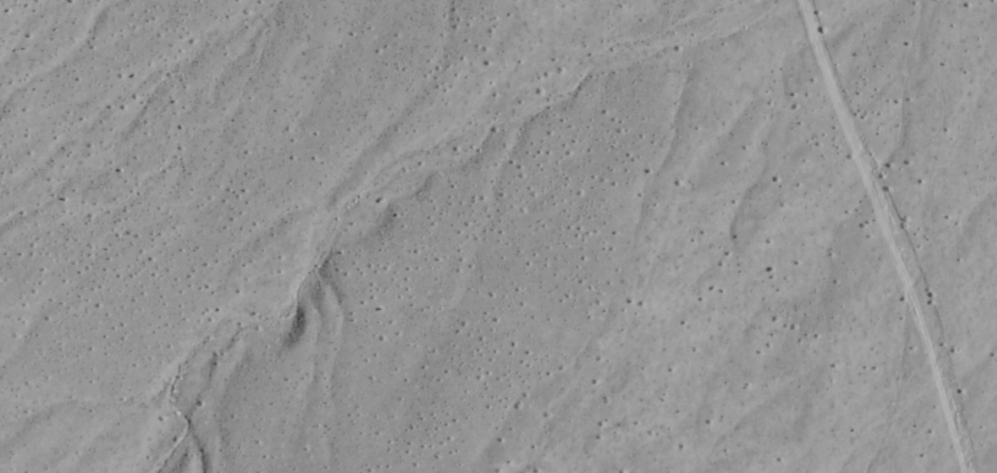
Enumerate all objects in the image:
road: (893, 233)

